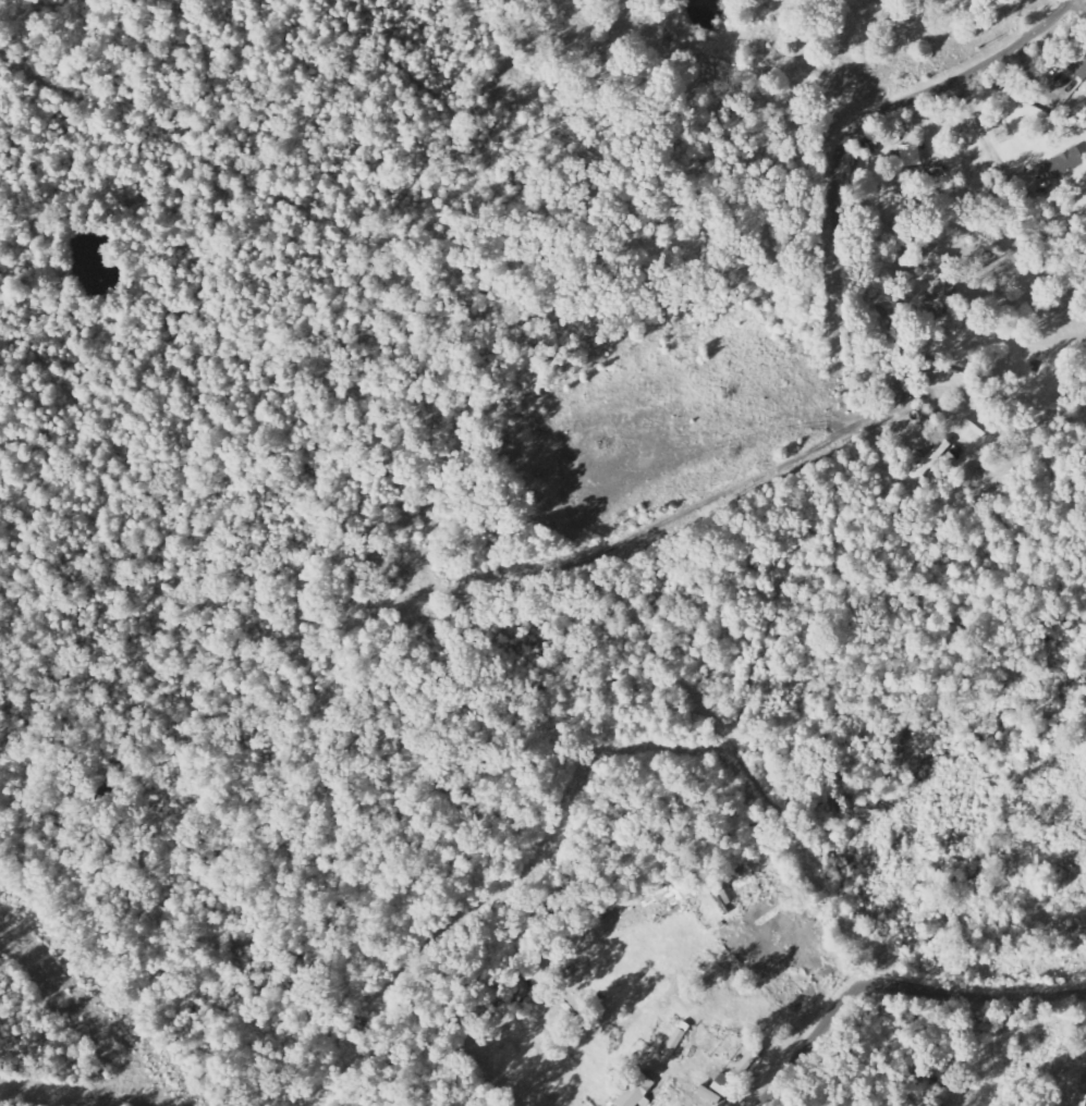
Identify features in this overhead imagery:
road: (1084, 1)
building: (1079, 58)
road: (945, 77)
building: (910, 156)
building: (1065, 162)
building: (943, 295)
road: (975, 995)
road: (805, 1036)
building: (676, 1040)
building: (749, 1057)
building: (723, 1084)
building: (635, 1091)

